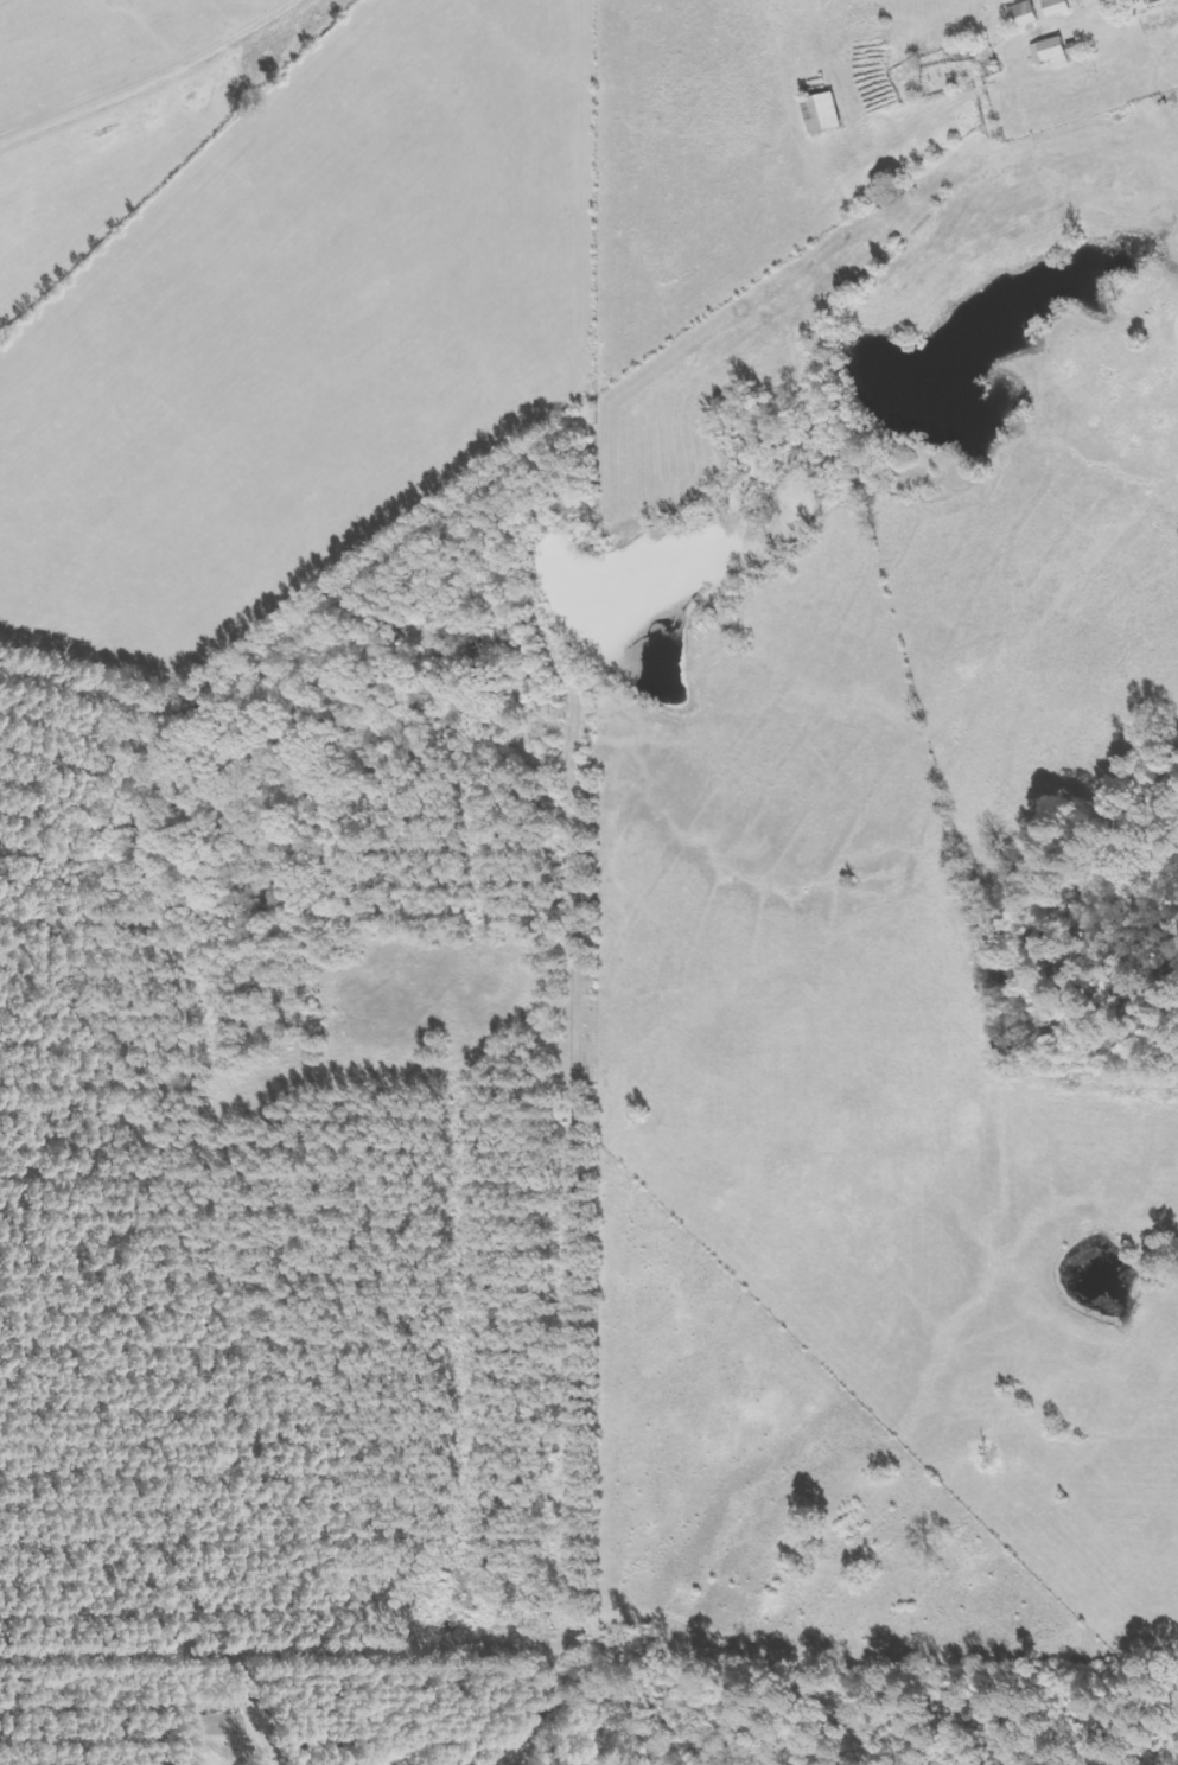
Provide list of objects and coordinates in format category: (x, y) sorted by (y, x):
building: (1151, 0)
building: (1062, 7)
building: (1059, 52)
building: (829, 114)
building: (235, 1725)

